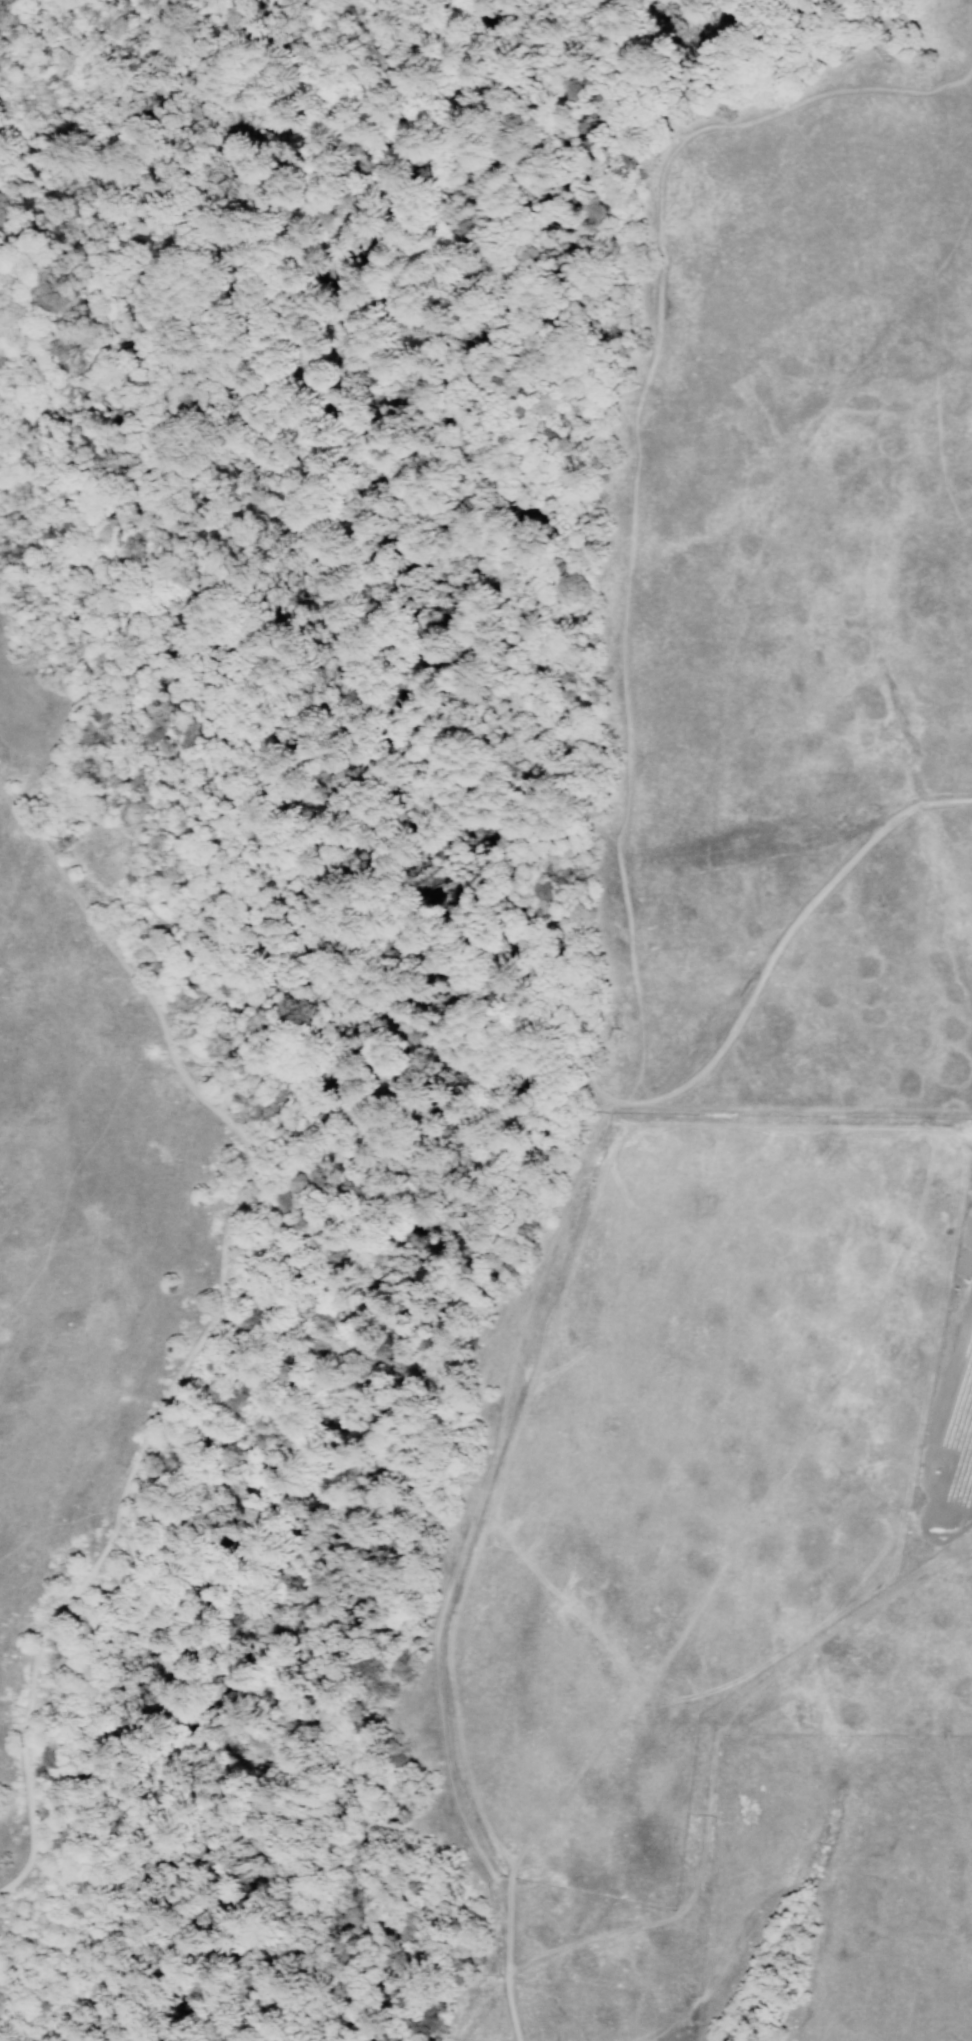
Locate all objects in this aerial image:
road: (359, 85)
road: (935, 362)
road: (636, 468)
road: (479, 556)
road: (755, 847)
road: (783, 942)
road: (610, 1105)
road: (796, 1129)
road: (534, 1284)
road: (209, 1324)
road: (496, 1502)
road: (748, 1524)
crop: (579, 1569)
road: (440, 1687)
road: (711, 1759)
road: (783, 1865)
road: (509, 1940)
road: (685, 1983)
road: (513, 2009)

